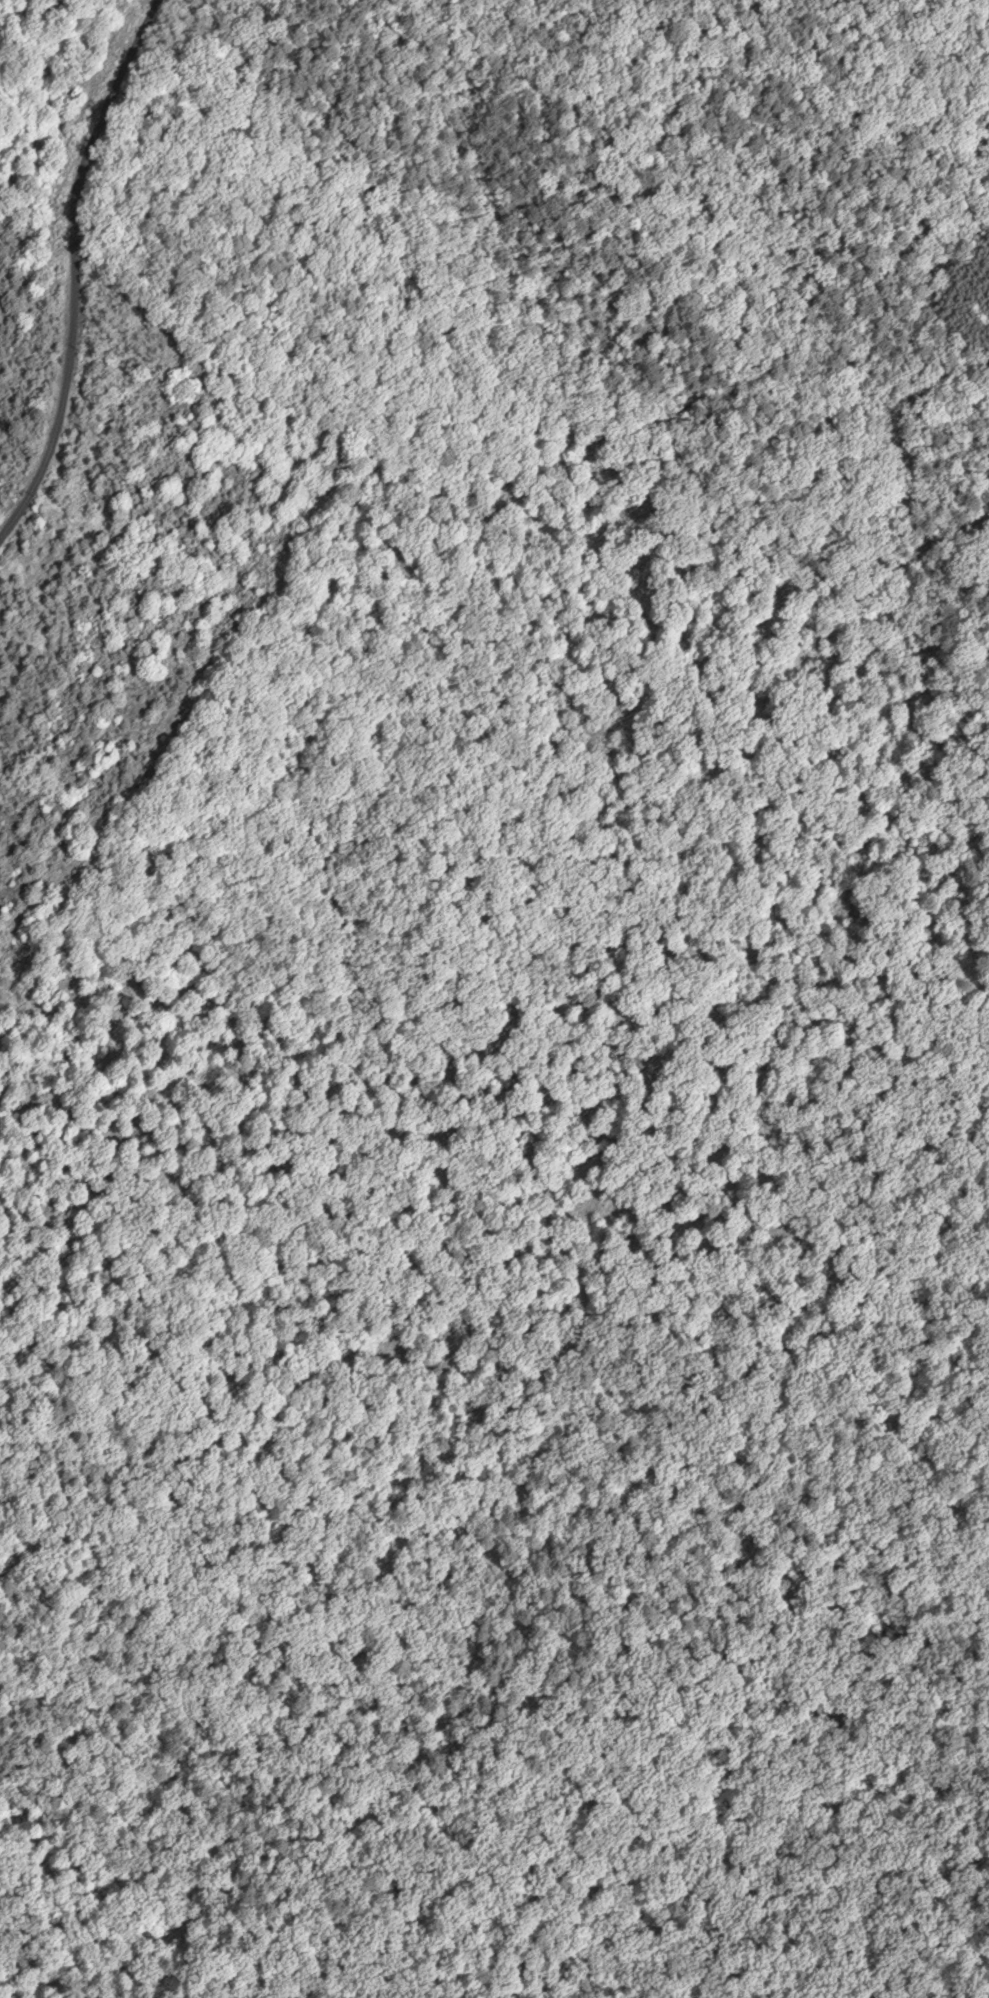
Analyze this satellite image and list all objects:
road: (96, 351)

